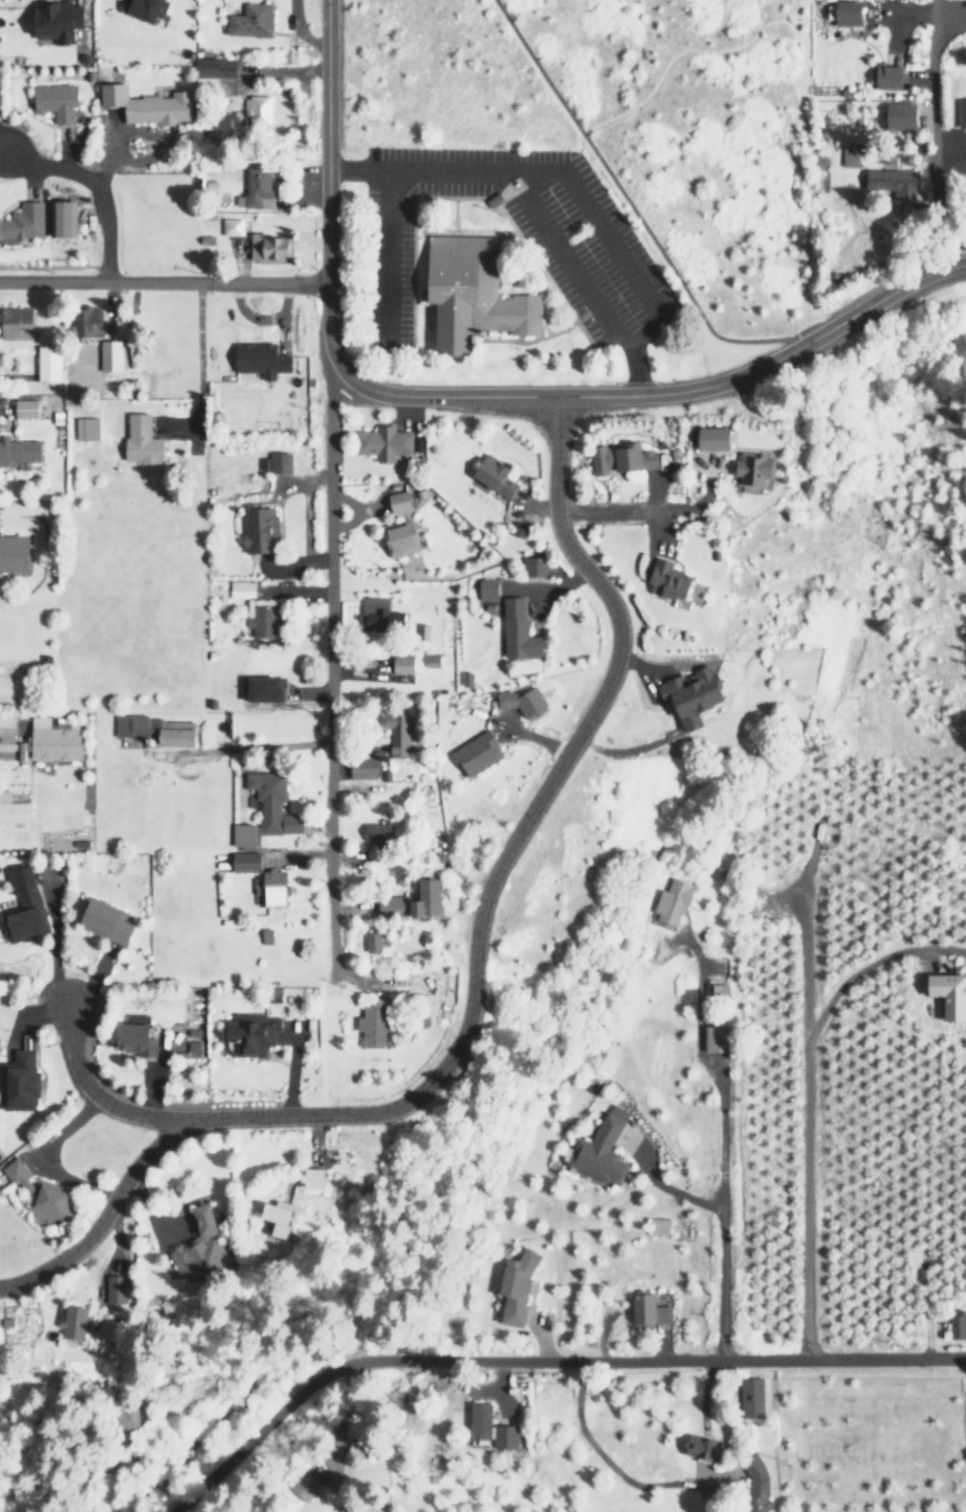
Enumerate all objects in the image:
building: (148, 9)
road: (931, 117)
road: (90, 188)
road: (525, 196)
road: (629, 207)
road: (614, 251)
road: (384, 255)
road: (163, 283)
building: (471, 292)
road: (883, 294)
road: (389, 393)
road: (329, 665)
road: (474, 973)
road: (28, 1014)
road: (695, 1049)
building: (19, 1077)
building: (35, 1081)
road: (94, 1095)
road: (666, 1187)
road: (722, 1263)
road: (546, 1360)
road: (594, 1448)

